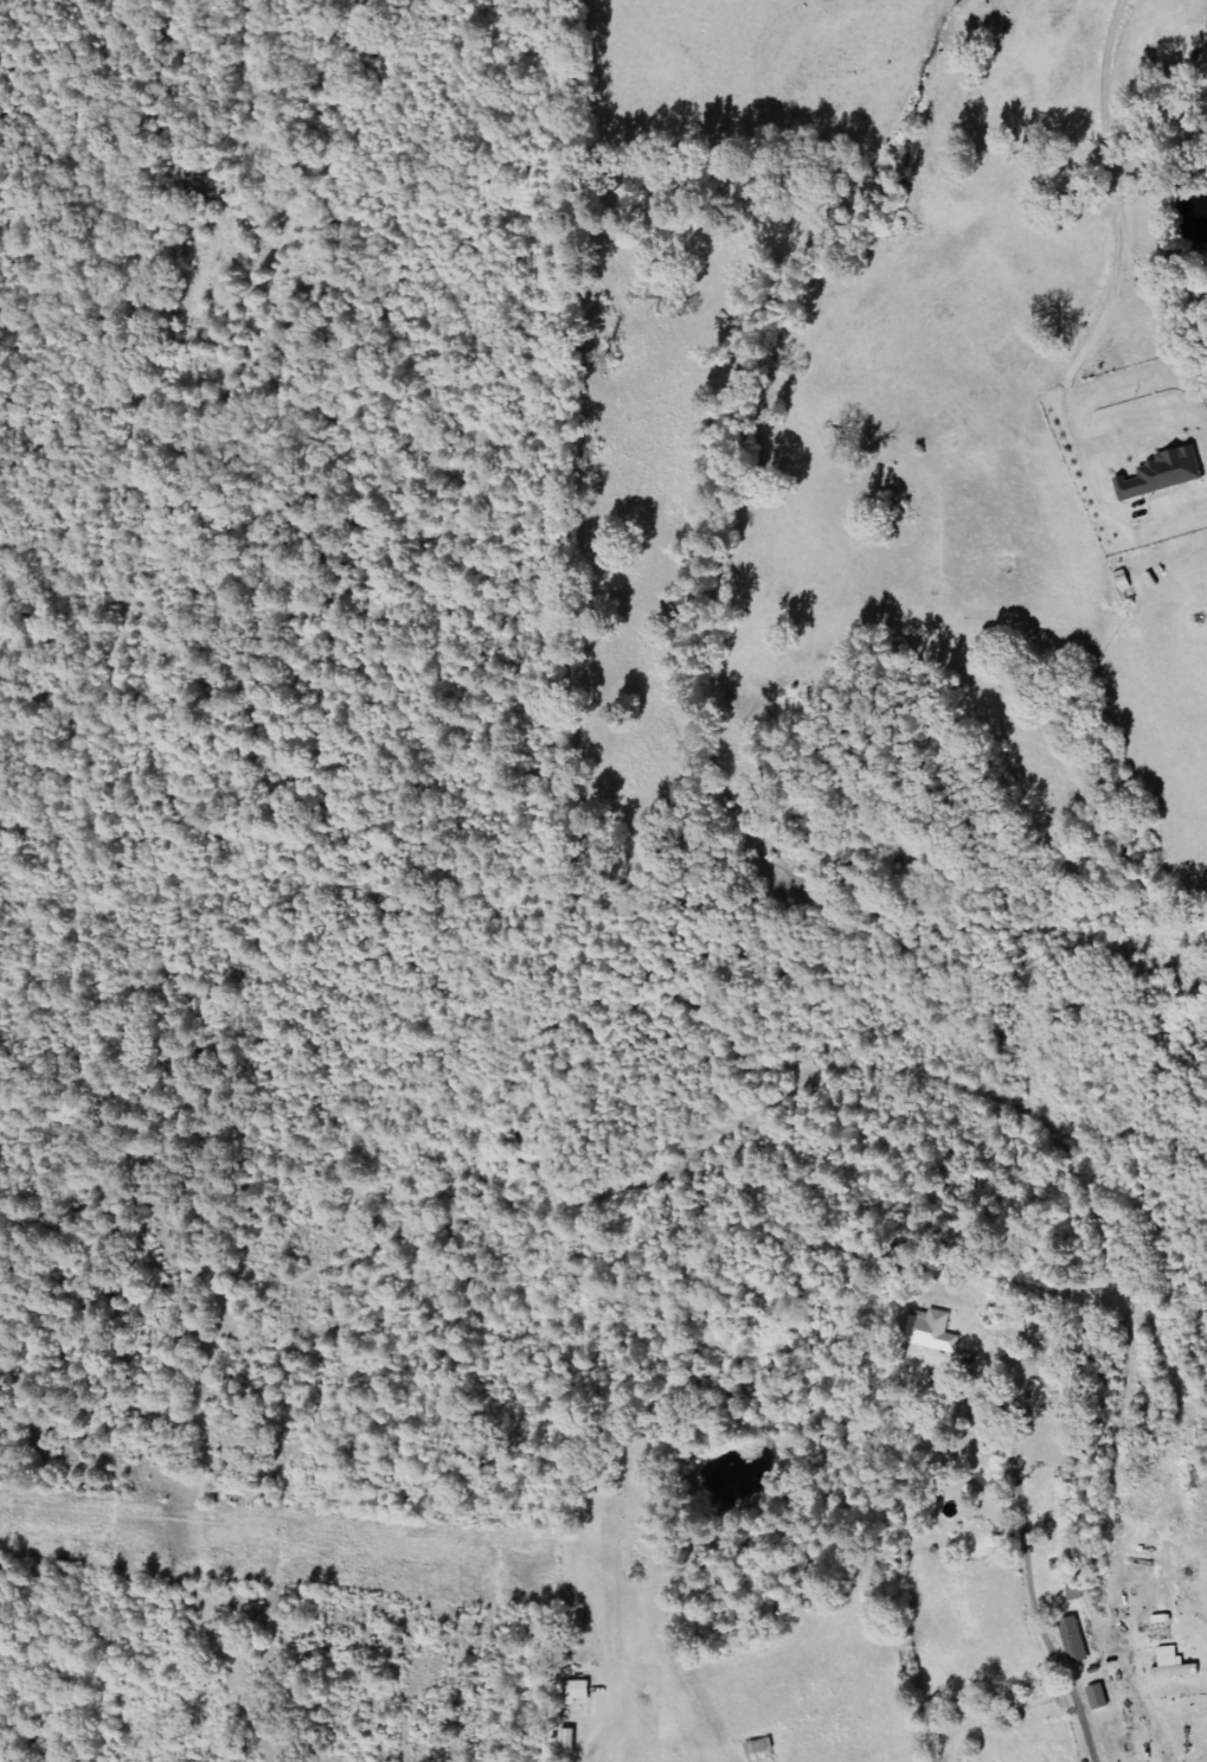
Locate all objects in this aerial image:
building: (1166, 474)
building: (931, 1322)
road: (1139, 1561)
building: (1162, 1619)
building: (1076, 1640)
building: (1176, 1664)
building: (1099, 1697)

